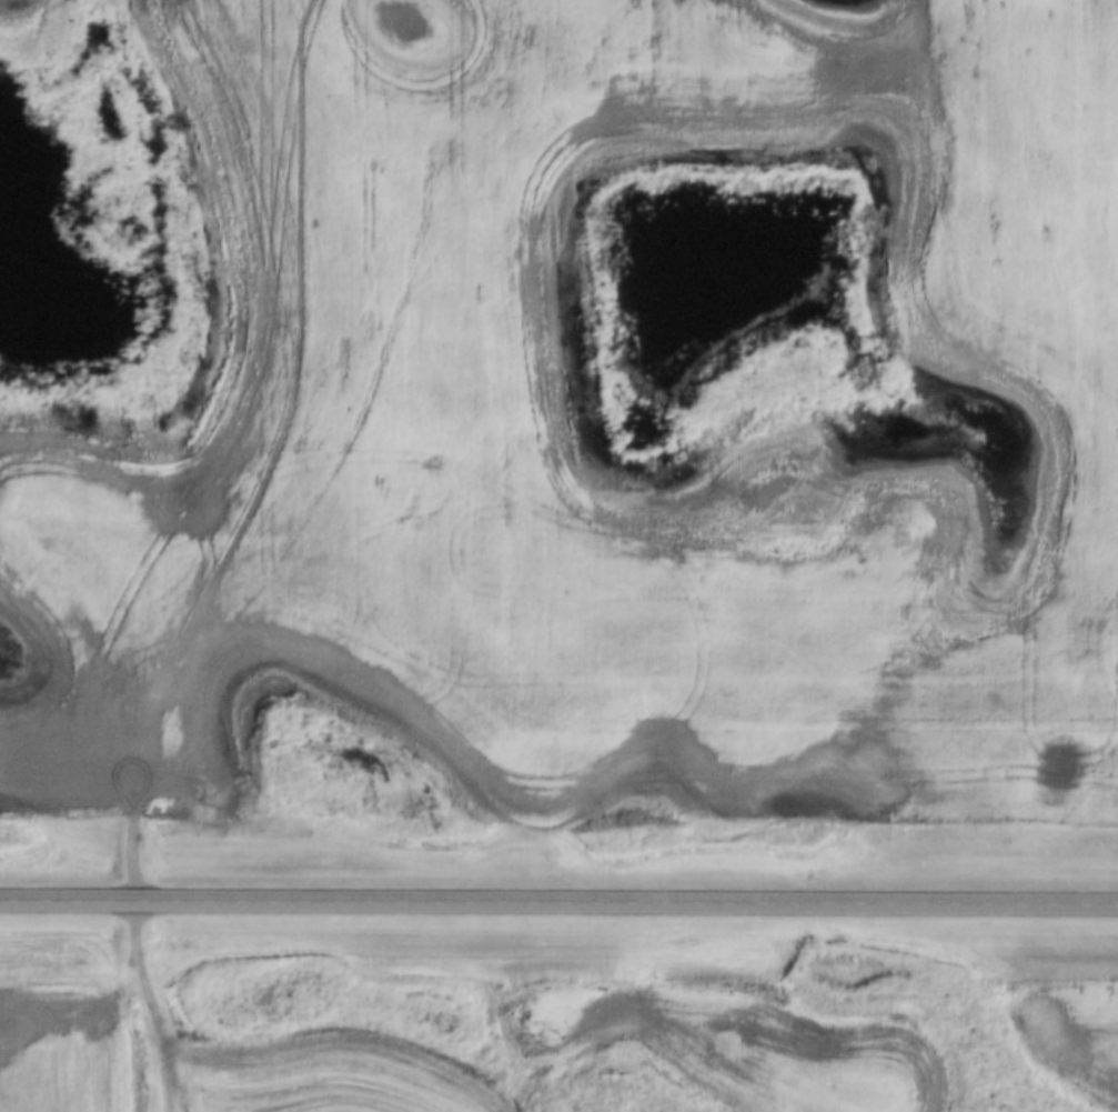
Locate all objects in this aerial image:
road: (558, 904)

